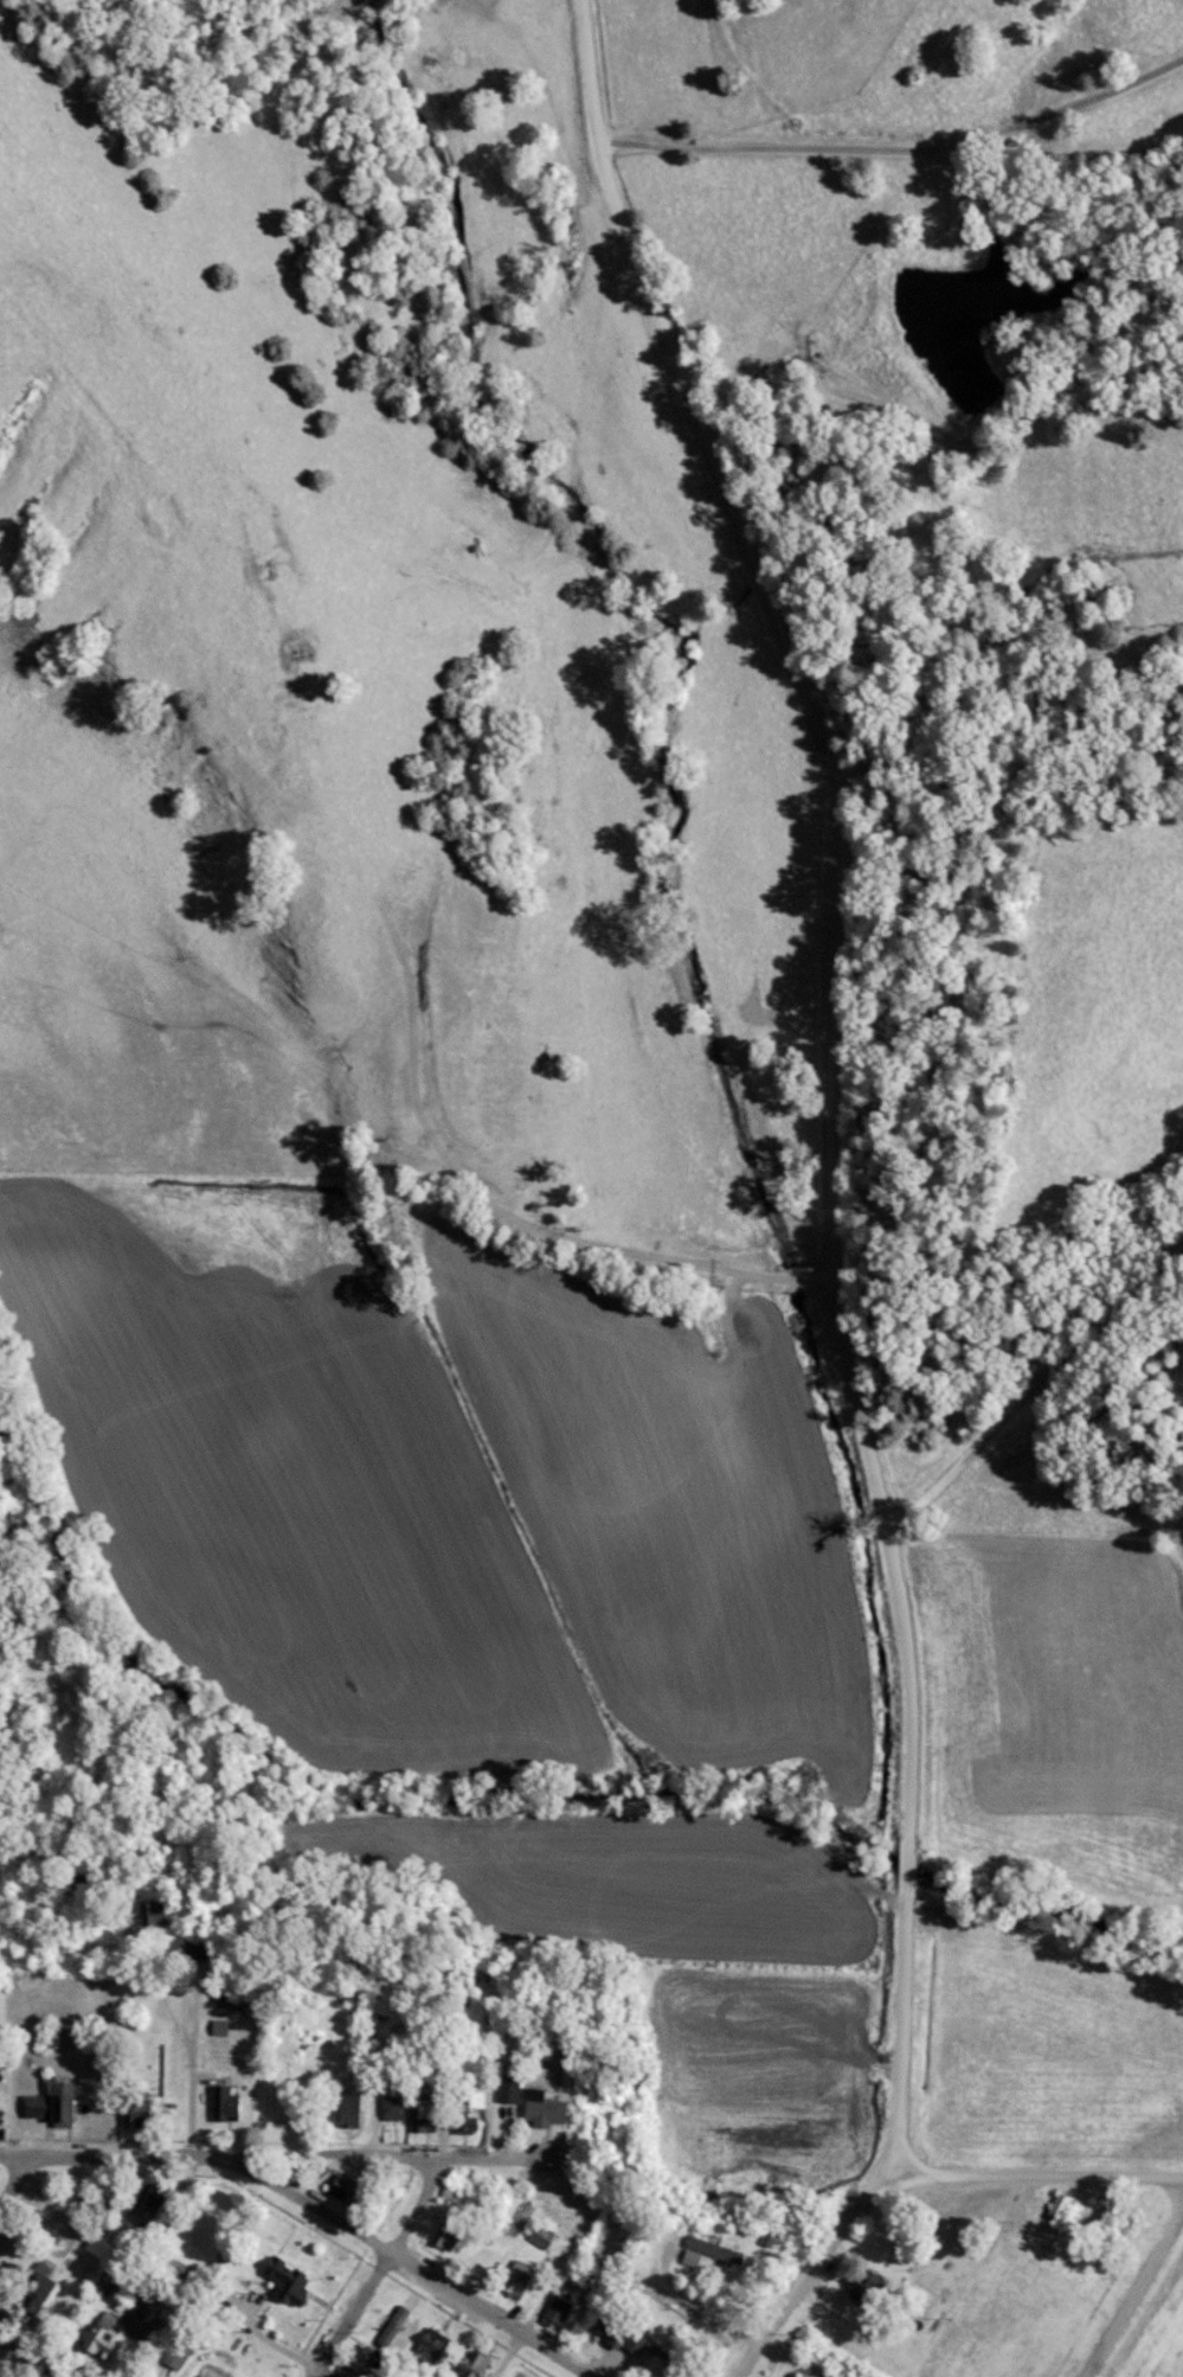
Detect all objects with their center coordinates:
road: (900, 149)
road: (832, 1066)
road: (506, 1213)
road: (1034, 1392)
building: (78, 1883)
building: (146, 1915)
road: (197, 2067)
building: (503, 2091)
building: (471, 2100)
building: (388, 2104)
building: (50, 2106)
building: (223, 2106)
building: (133, 2108)
building: (345, 2110)
building: (538, 2110)
building: (422, 2115)
building: (458, 2123)
road: (271, 2141)
road: (13, 2168)
road: (1037, 2173)
road: (424, 2174)
building: (337, 2189)
building: (142, 2206)
building: (1057, 2210)
road: (396, 2255)
building: (705, 2255)
road: (816, 2274)
building: (513, 2281)
building: (281, 2282)
road: (365, 2286)
building: (31, 2289)
road: (1136, 2294)
building: (552, 2312)
building: (99, 2339)
road: (502, 2354)
road: (22, 2363)

